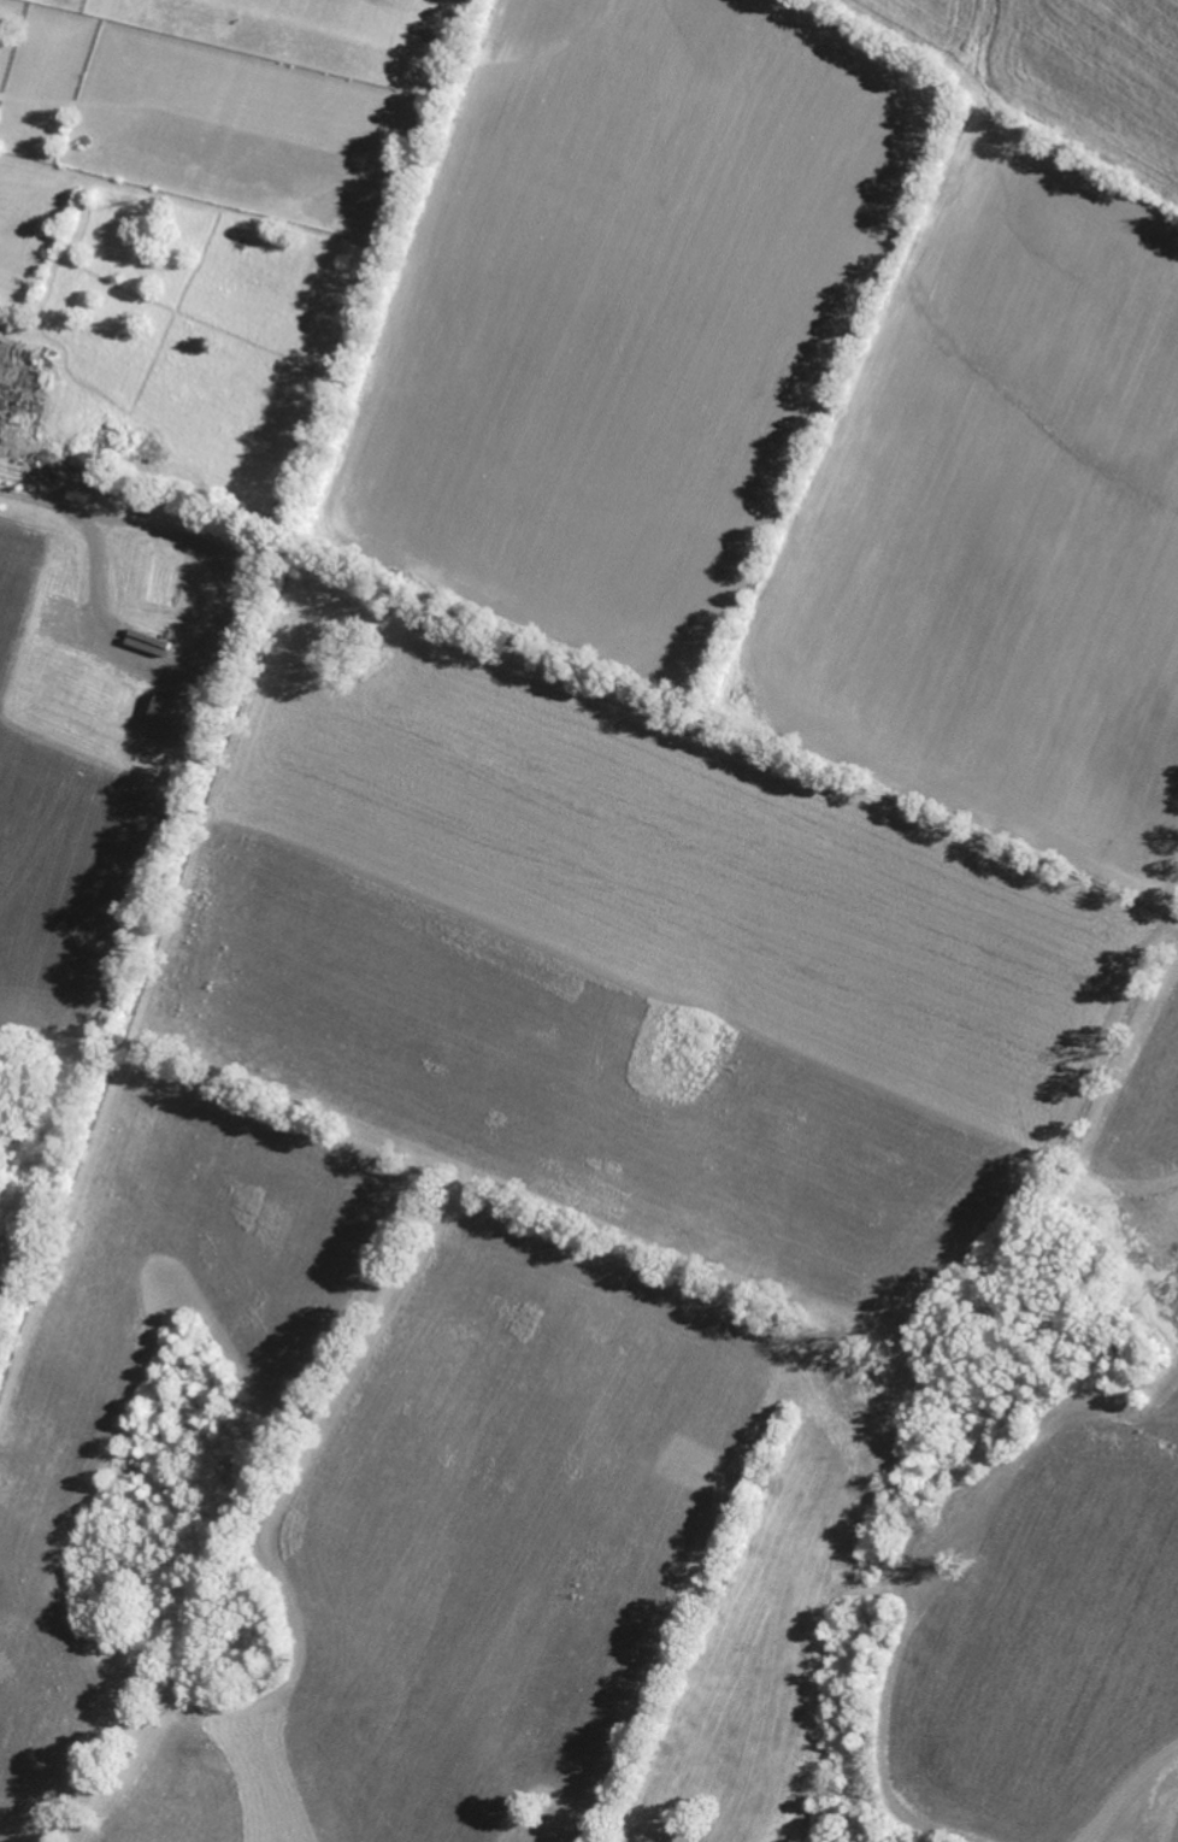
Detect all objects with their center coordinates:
road: (42, 494)
road: (207, 625)
building: (170, 717)
road: (1176, 1834)

